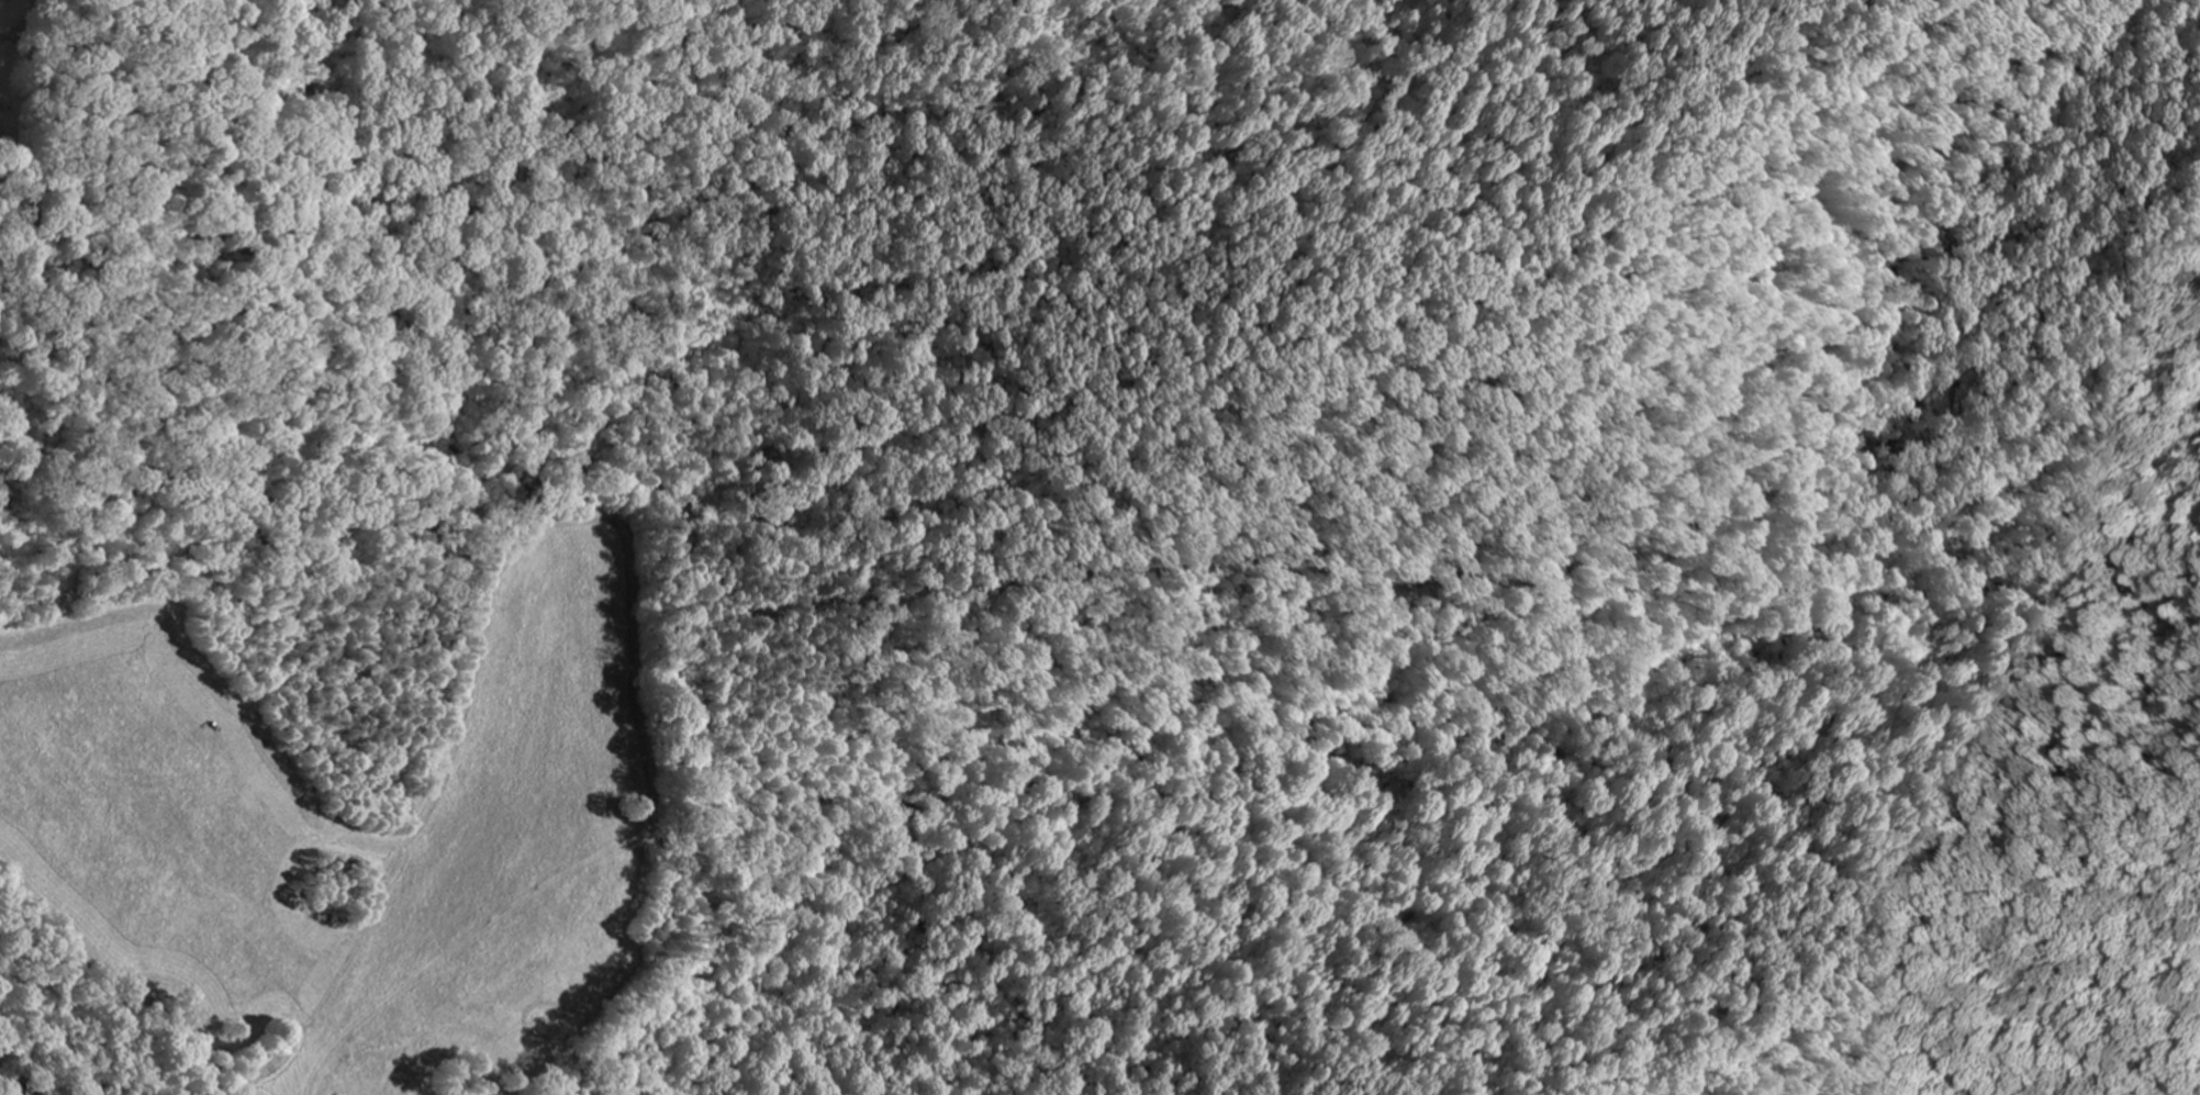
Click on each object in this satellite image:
road: (15, 20)
park: (27, 41)

